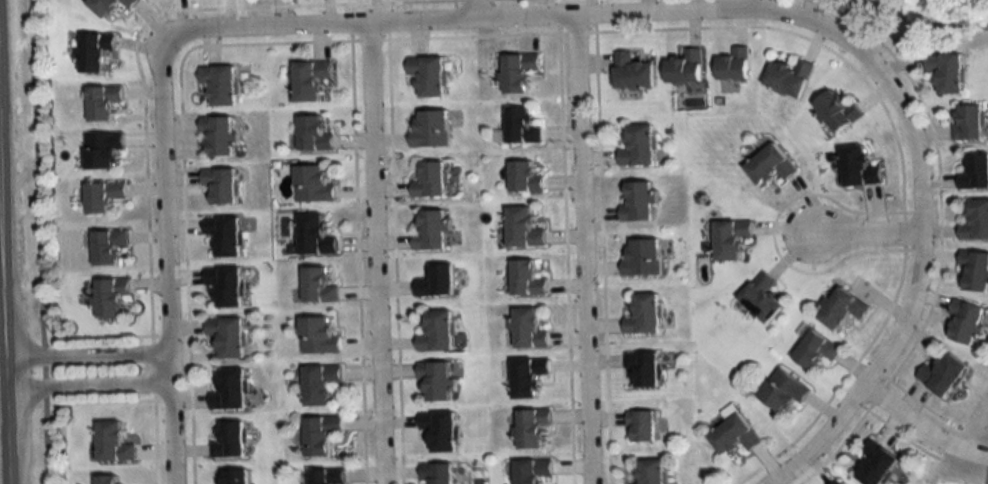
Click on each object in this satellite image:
building: (110, 6)
road: (467, 9)
road: (464, 18)
building: (95, 52)
building: (735, 66)
building: (686, 69)
building: (518, 73)
building: (633, 73)
building: (948, 73)
building: (428, 76)
building: (790, 78)
building: (309, 81)
building: (219, 85)
building: (102, 103)
building: (838, 113)
building: (970, 123)
building: (521, 127)
building: (430, 130)
building: (219, 135)
building: (313, 135)
building: (639, 145)
building: (103, 150)
building: (770, 164)
building: (859, 167)
building: (975, 173)
building: (524, 177)
building: (430, 180)
building: (221, 184)
building: (313, 184)
building: (103, 195)
building: (639, 202)
building: (976, 221)
building: (523, 228)
road: (921, 228)
building: (432, 230)
road: (863, 231)
building: (224, 233)
building: (315, 235)
building: (732, 238)
road: (41, 242)
building: (108, 246)
road: (581, 249)
road: (374, 253)
road: (167, 255)
building: (643, 258)
building: (975, 269)
building: (526, 279)
building: (437, 281)
building: (225, 284)
building: (319, 285)
building: (110, 296)
building: (762, 298)
building: (843, 308)
building: (645, 315)
building: (966, 321)
building: (528, 329)
building: (437, 332)
road: (102, 333)
building: (228, 336)
building: (318, 336)
building: (817, 350)
road: (85, 354)
building: (645, 368)
building: (944, 375)
building: (528, 376)
building: (436, 379)
building: (320, 383)
road: (85, 388)
building: (230, 390)
building: (784, 391)
road: (104, 398)
building: (642, 426)
road: (921, 426)
building: (532, 428)
building: (321, 434)
building: (735, 435)
building: (230, 440)
building: (113, 443)
road: (1, 451)
building: (877, 462)
building: (533, 470)
building: (652, 471)
building: (438, 473)
building: (236, 476)
building: (327, 476)
building: (106, 479)
building: (836, 482)

